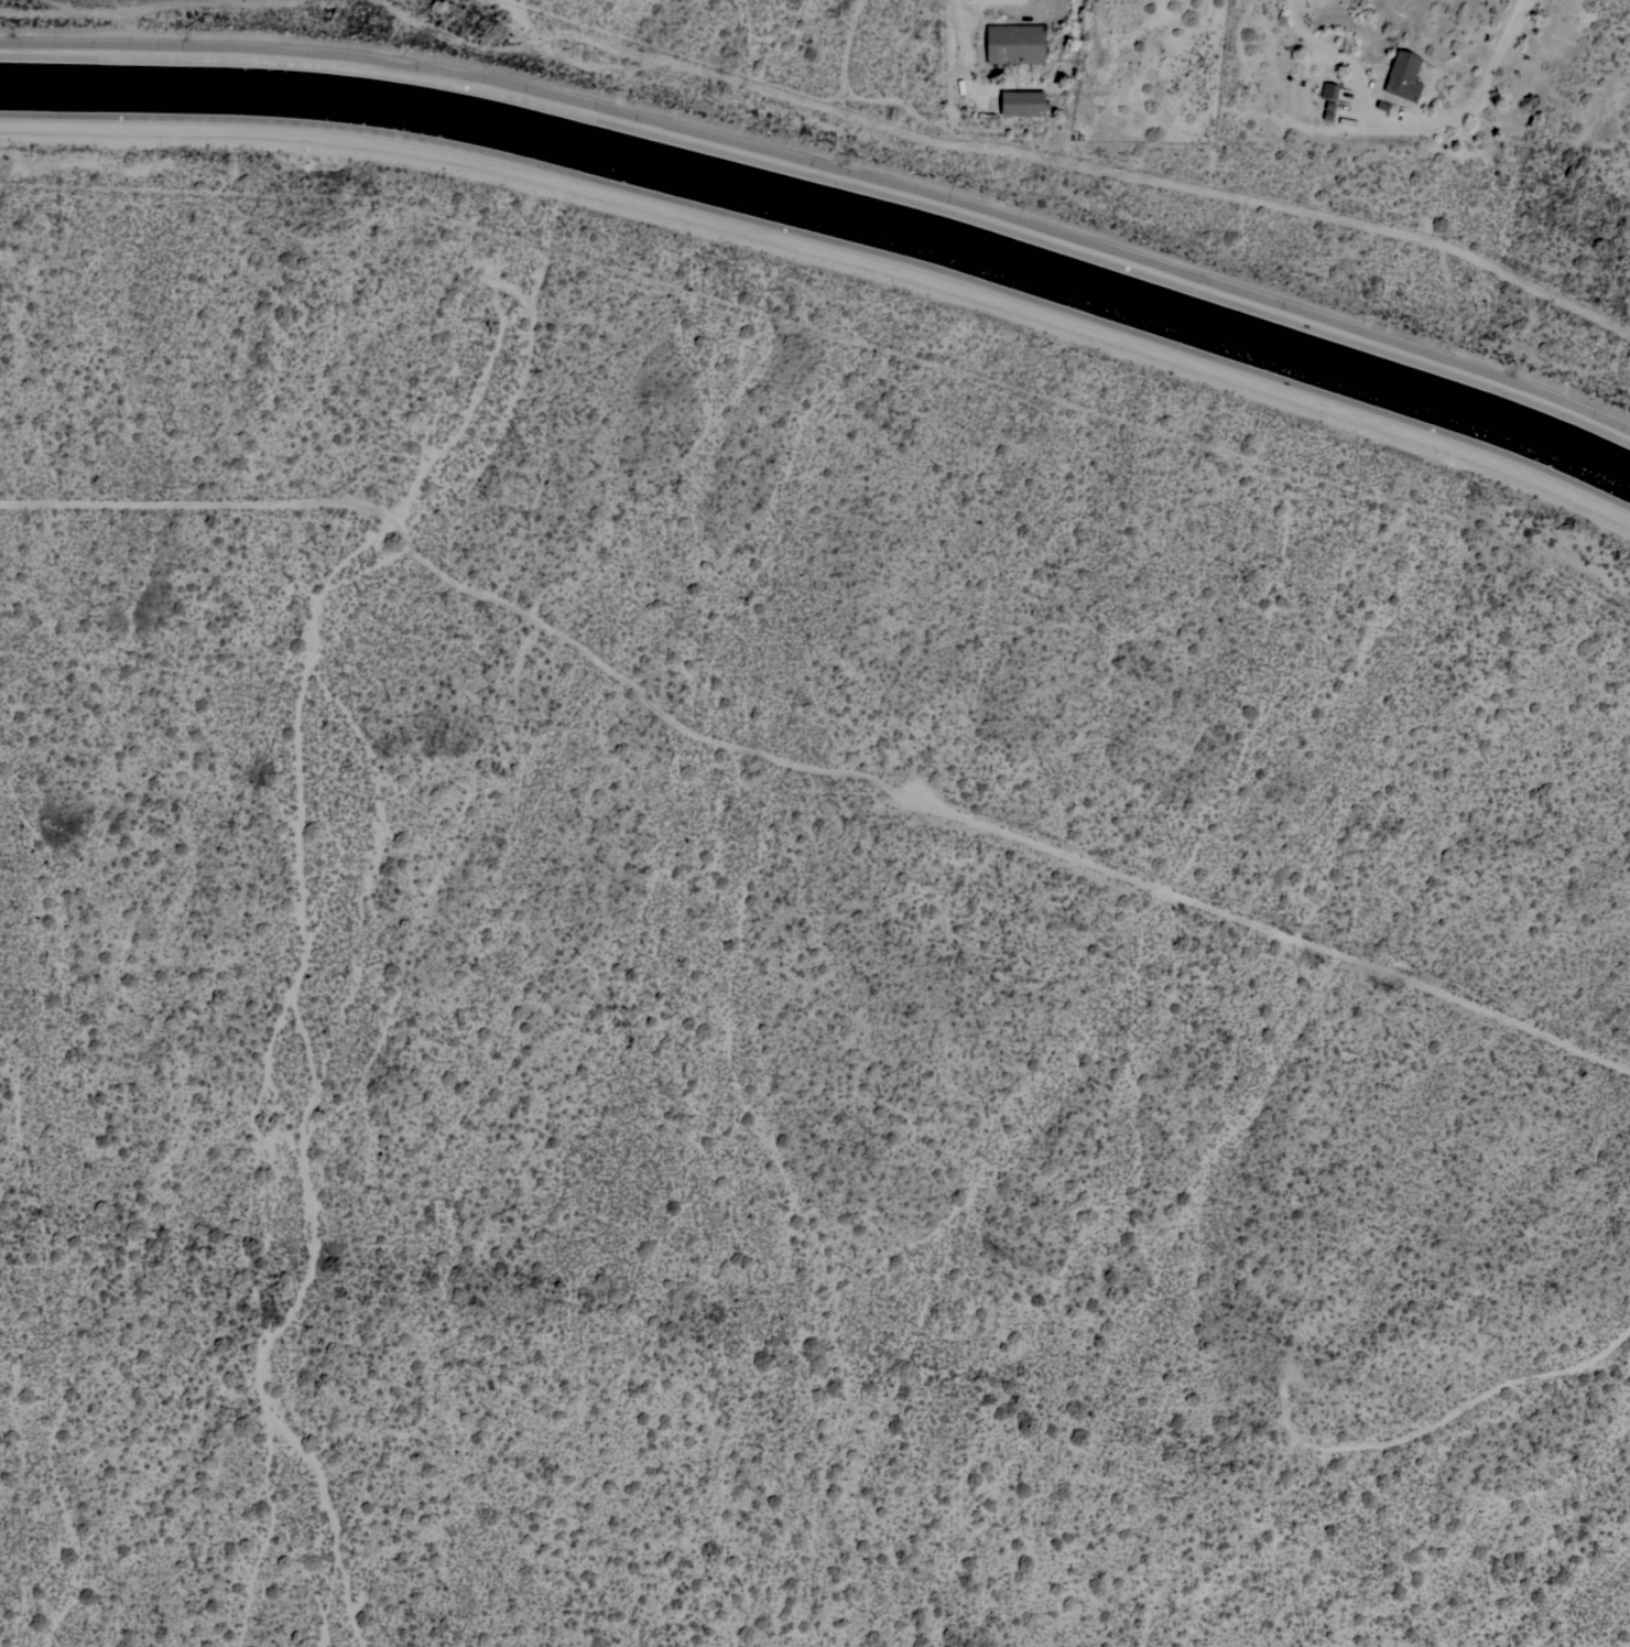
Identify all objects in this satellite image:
building: (1014, 43)
building: (1403, 76)
building: (1328, 89)
building: (1022, 102)
road: (1417, 121)

